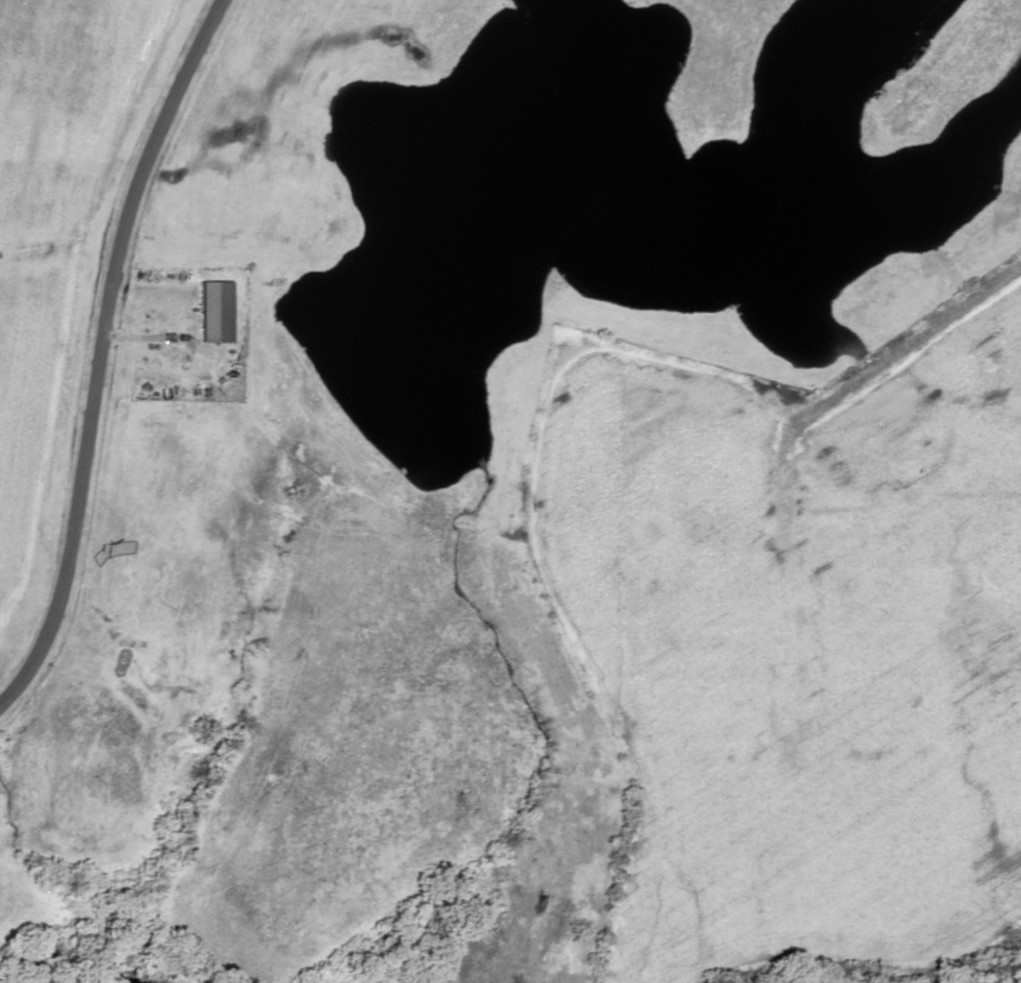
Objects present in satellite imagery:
building: (213, 312)
road: (108, 337)

